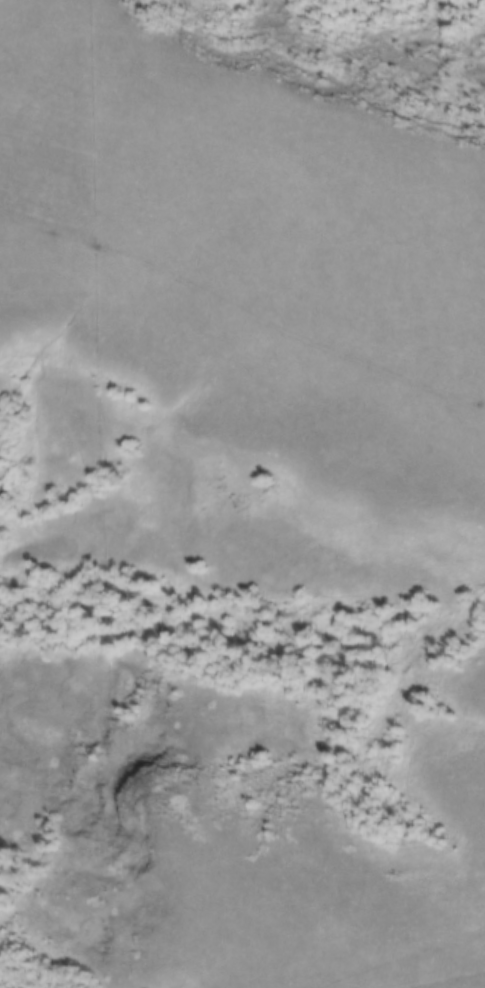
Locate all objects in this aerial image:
road: (422, 979)

